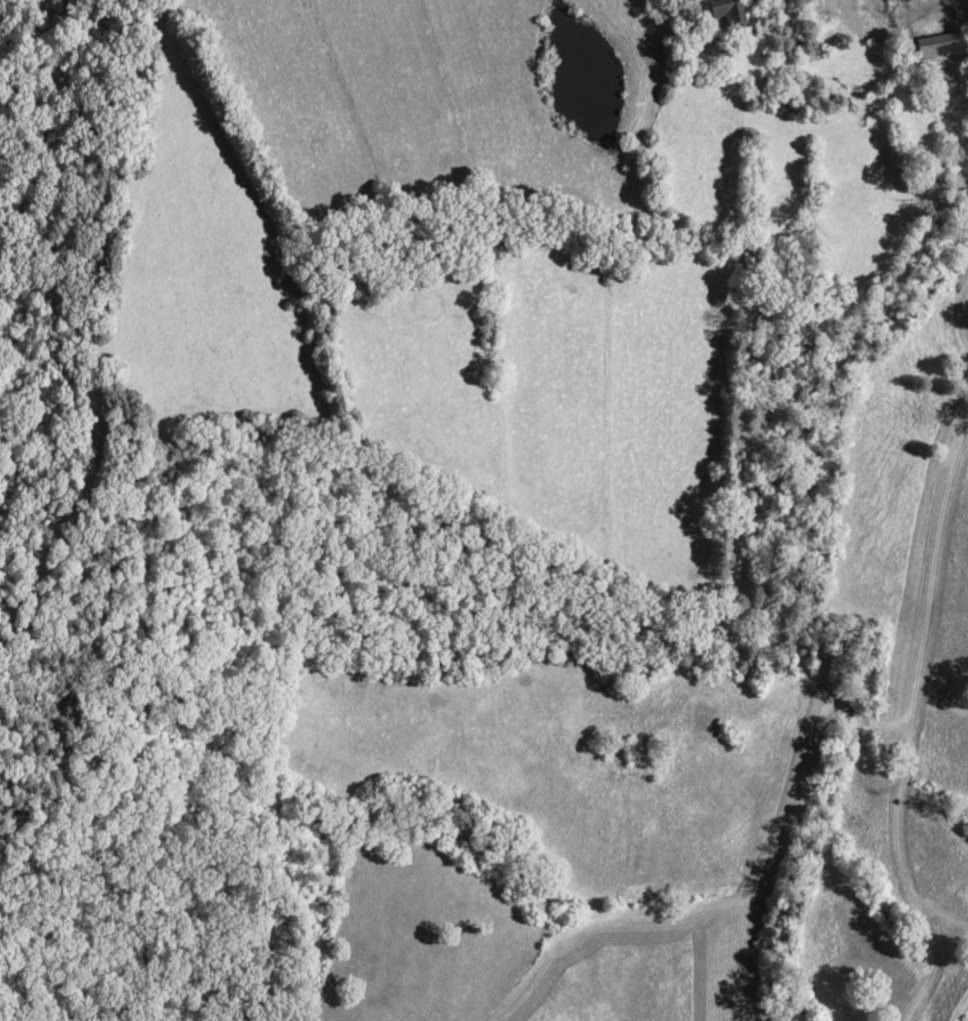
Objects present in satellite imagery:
building: (727, 11)
building: (939, 47)
road: (963, 293)

